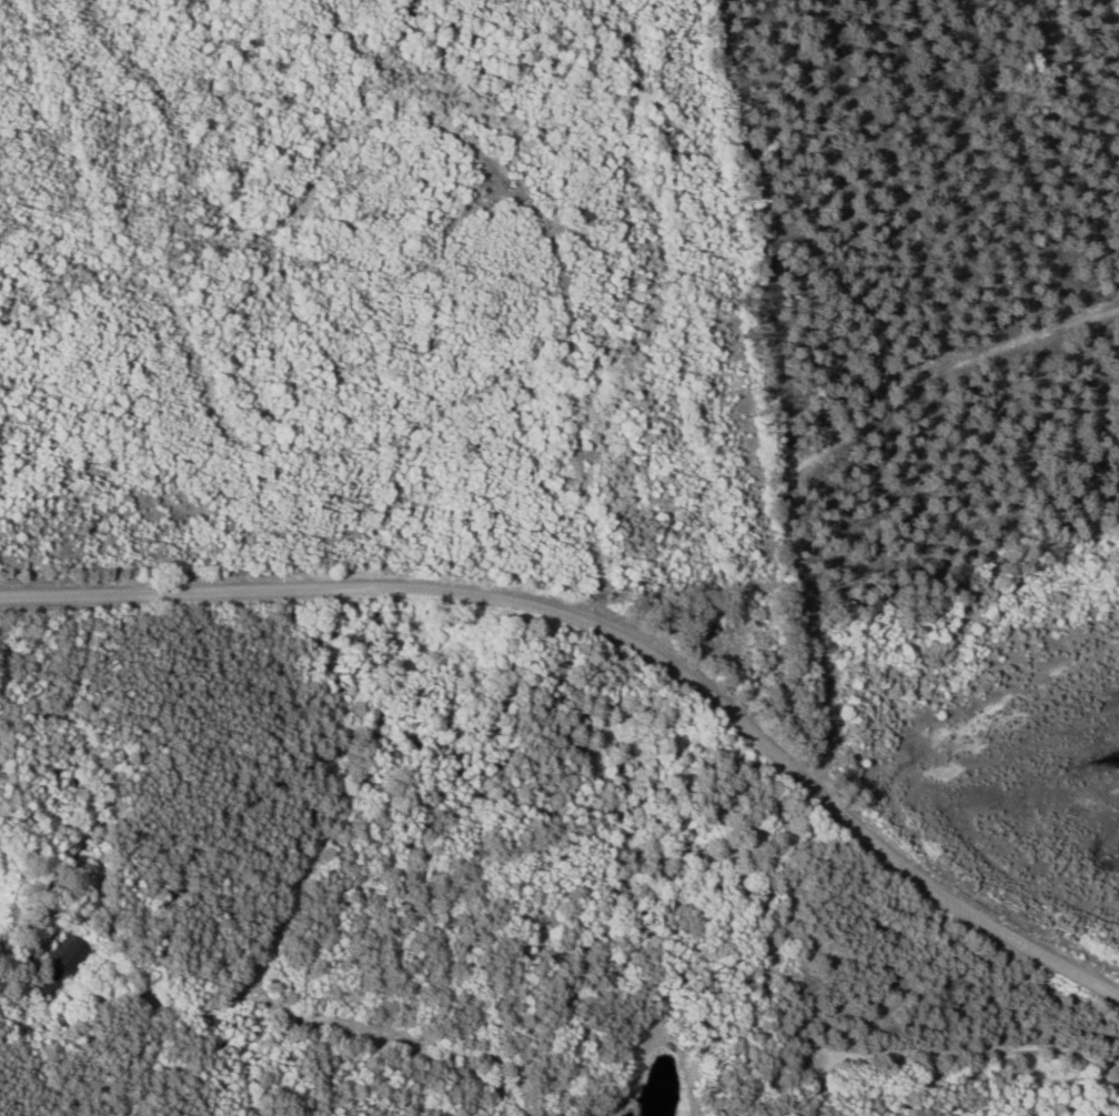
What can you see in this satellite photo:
road: (615, 635)
building: (61, 974)
dam: (609, 1104)

